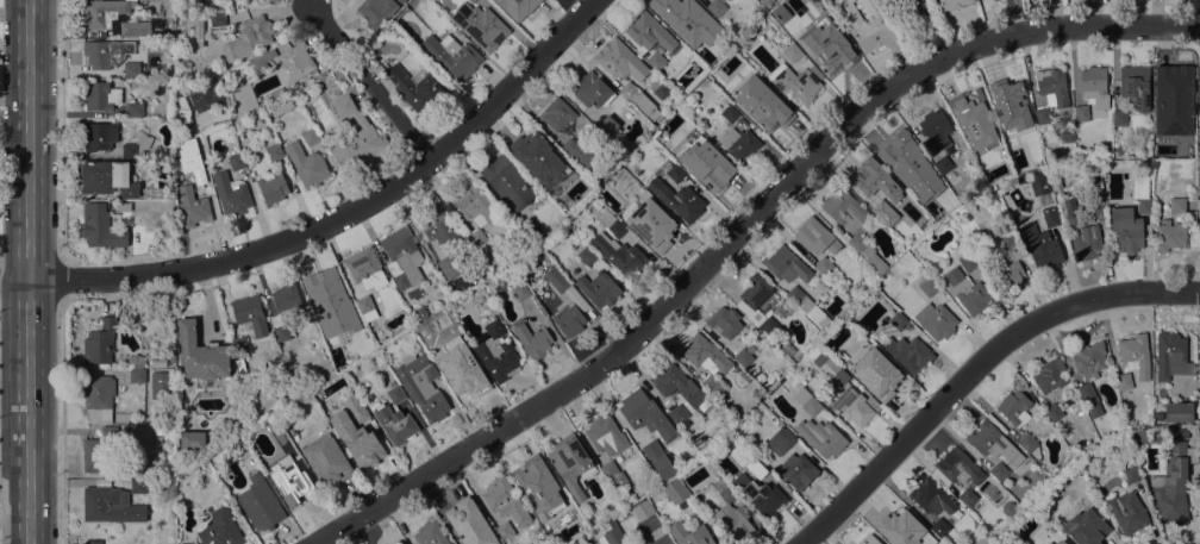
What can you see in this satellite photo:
building: (244, 1)
building: (401, 1)
building: (470, 1)
building: (952, 4)
building: (517, 5)
building: (206, 7)
building: (715, 7)
building: (681, 8)
building: (376, 11)
building: (915, 11)
building: (104, 12)
road: (343, 14)
building: (217, 19)
building: (827, 19)
building: (156, 24)
building: (867, 24)
building: (480, 25)
building: (135, 29)
building: (193, 31)
building: (683, 32)
building: (646, 37)
building: (248, 38)
building: (790, 51)
building: (102, 54)
building: (832, 60)
building: (456, 61)
building: (620, 61)
building: (255, 64)
building: (292, 65)
building: (131, 69)
building: (794, 82)
road: (370, 83)
building: (1135, 86)
building: (760, 87)
building: (1093, 87)
building: (415, 88)
building: (350, 89)
building: (1171, 89)
building: (590, 90)
building: (1050, 92)
building: (100, 96)
building: (1012, 96)
building: (206, 99)
building: (239, 99)
building: (638, 100)
building: (135, 110)
building: (182, 111)
building: (973, 111)
building: (557, 113)
building: (730, 113)
building: (1080, 113)
building: (769, 118)
building: (1119, 118)
building: (607, 125)
building: (1008, 127)
building: (936, 130)
building: (98, 136)
building: (311, 137)
building: (1067, 137)
building: (355, 138)
building: (699, 140)
building: (740, 144)
building: (974, 145)
building: (136, 146)
building: (533, 148)
building: (902, 151)
building: (274, 152)
building: (581, 156)
building: (236, 162)
building: (942, 164)
building: (306, 165)
building: (675, 173)
building: (713, 174)
building: (201, 175)
building: (868, 176)
building: (539, 177)
building: (1021, 177)
building: (106, 179)
building: (907, 181)
building: (507, 182)
building: (1038, 183)
building: (273, 188)
building: (1094, 192)
building: (1140, 192)
building: (151, 193)
building: (231, 194)
building: (986, 195)
building: (644, 199)
building: (677, 200)
building: (1176, 205)
building: (121, 206)
building: (192, 207)
building: (474, 210)
building: (844, 210)
building: (1050, 217)
building: (892, 218)
road: (333, 220)
building: (611, 224)
building: (100, 226)
building: (438, 227)
building: (530, 227)
building: (1126, 230)
road: (738, 232)
building: (658, 235)
building: (1169, 236)
building: (1008, 239)
building: (1083, 239)
building: (814, 243)
building: (1040, 248)
building: (483, 249)
building: (867, 252)
building: (586, 256)
building: (619, 256)
building: (542, 257)
building: (401, 258)
building: (967, 262)
building: (787, 265)
building: (449, 268)
road: (27, 271)
building: (1006, 275)
building: (556, 279)
building: (365, 280)
building: (927, 287)
building: (599, 288)
building: (327, 289)
building: (520, 292)
building: (967, 292)
building: (286, 301)
building: (756, 304)
building: (807, 307)
building: (249, 314)
building: (421, 314)
building: (568, 320)
building: (898, 320)
building: (724, 321)
building: (935, 321)
building: (326, 330)
building: (532, 340)
building: (99, 344)
building: (239, 344)
building: (461, 346)
building: (496, 352)
building: (907, 352)
building: (200, 354)
building: (173, 355)
building: (1135, 356)
building: (1170, 356)
building: (743, 357)
building: (1088, 359)
building: (136, 361)
building: (707, 362)
building: (240, 368)
road: (974, 368)
building: (829, 369)
building: (876, 374)
building: (137, 376)
building: (745, 376)
building: (1050, 376)
building: (463, 380)
building: (1123, 382)
building: (675, 384)
building: (161, 386)
building: (421, 386)
building: (98, 399)
building: (1089, 400)
building: (806, 401)
building: (855, 406)
building: (355, 407)
building: (1013, 408)
building: (1079, 411)
building: (1054, 412)
building: (1177, 412)
building: (644, 414)
building: (677, 414)
building: (1158, 417)
building: (395, 419)
building: (1176, 432)
building: (606, 436)
building: (1140, 436)
building: (820, 437)
building: (192, 440)
building: (356, 440)
building: (993, 443)
building: (1027, 443)
building: (1076, 446)
building: (100, 450)
building: (289, 454)
building: (326, 458)
building: (657, 459)
building: (800, 459)
building: (571, 464)
building: (757, 469)
building: (956, 469)
building: (999, 471)
building: (532, 473)
building: (612, 474)
building: (1131, 474)
building: (140, 486)
building: (1171, 486)
building: (674, 490)
building: (724, 490)
building: (293, 492)
building: (763, 498)
building: (931, 498)
building: (967, 498)
building: (505, 501)
building: (260, 504)
building: (110, 506)
building: (536, 507)
building: (1008, 508)
building: (643, 511)
building: (1126, 512)
building: (469, 523)
building: (898, 524)
building: (733, 525)
building: (940, 526)
building: (1085, 527)
building: (220, 530)
building: (504, 532)
building: (430, 534)
building: (689, 534)
building: (612, 536)
building: (868, 540)
building: (93, 542)
building: (1007, 542)
building: (1061, 542)
building: (396, 543)
building: (1049, 543)

